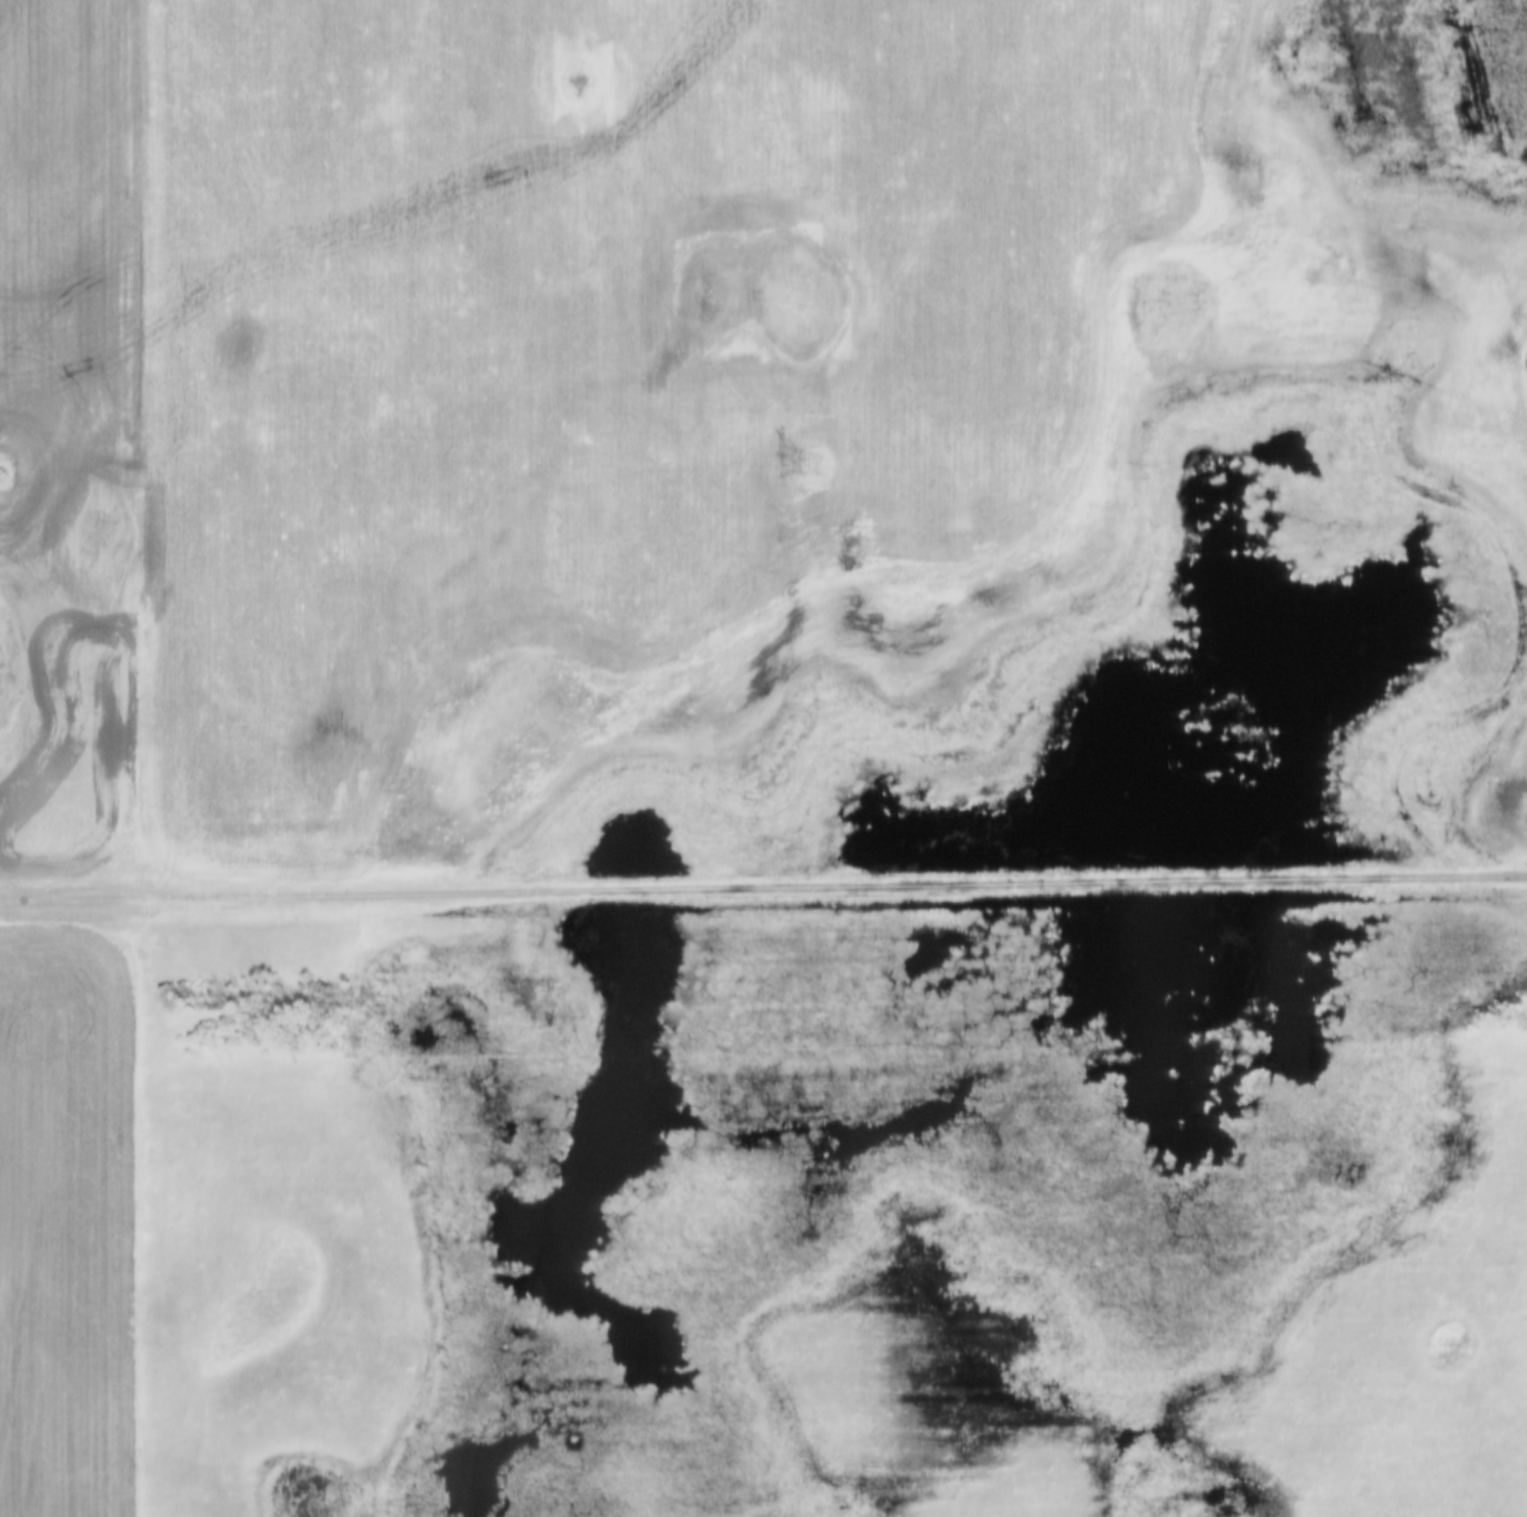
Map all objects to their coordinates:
power tower: (811, 464)
road: (763, 890)

